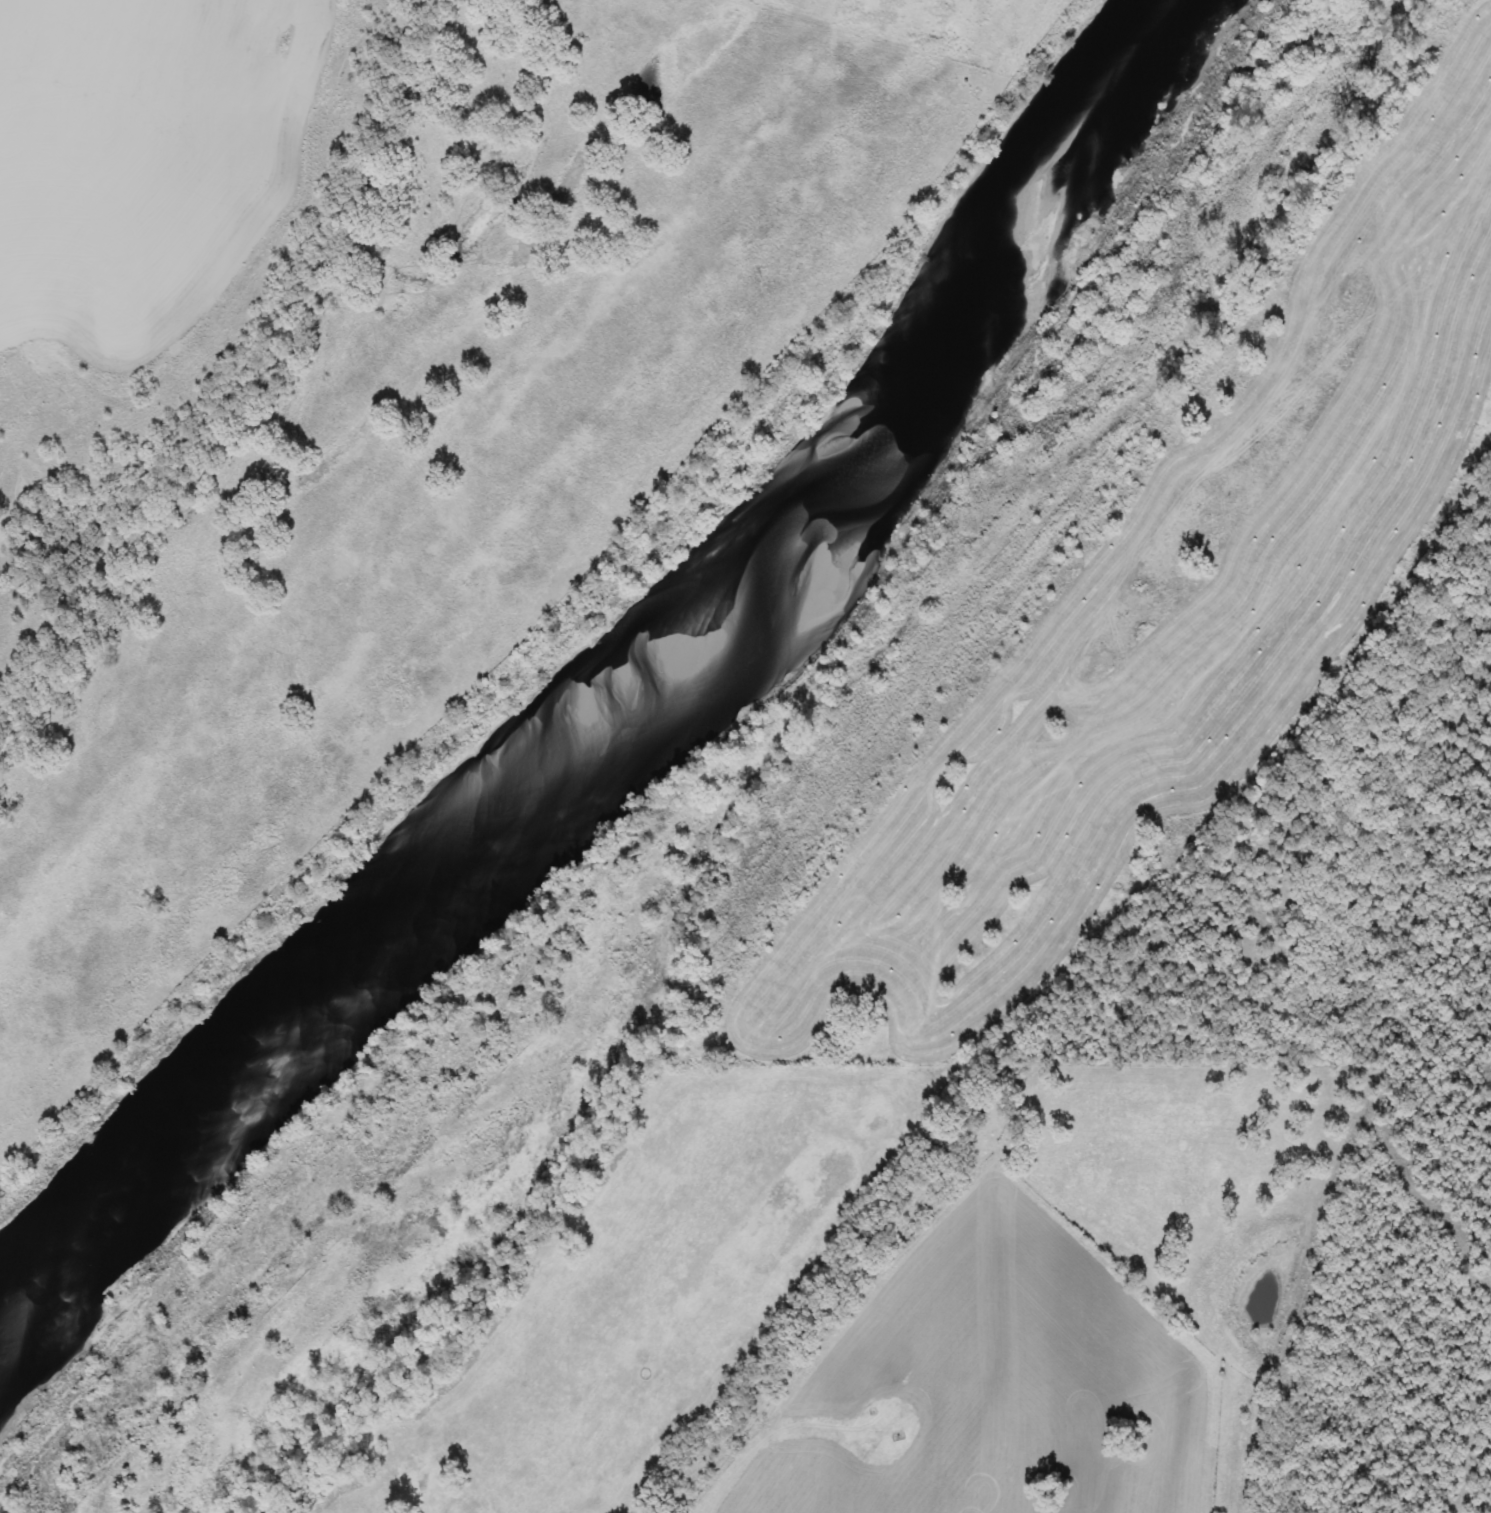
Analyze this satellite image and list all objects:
river: (680, 736)

